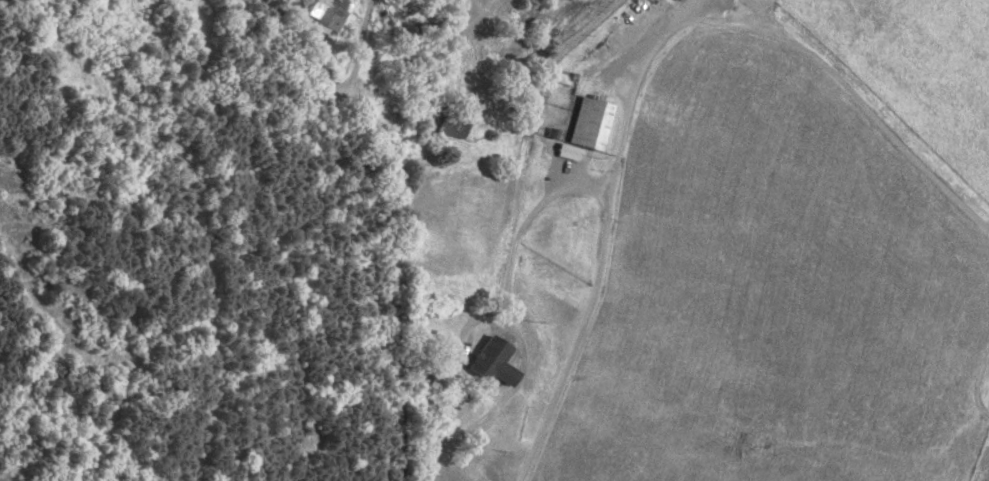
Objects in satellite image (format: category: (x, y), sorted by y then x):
building: (327, 12)
building: (589, 123)
building: (452, 126)
building: (373, 127)
building: (568, 152)
road: (395, 318)
road: (580, 331)
building: (492, 362)
road: (454, 440)

